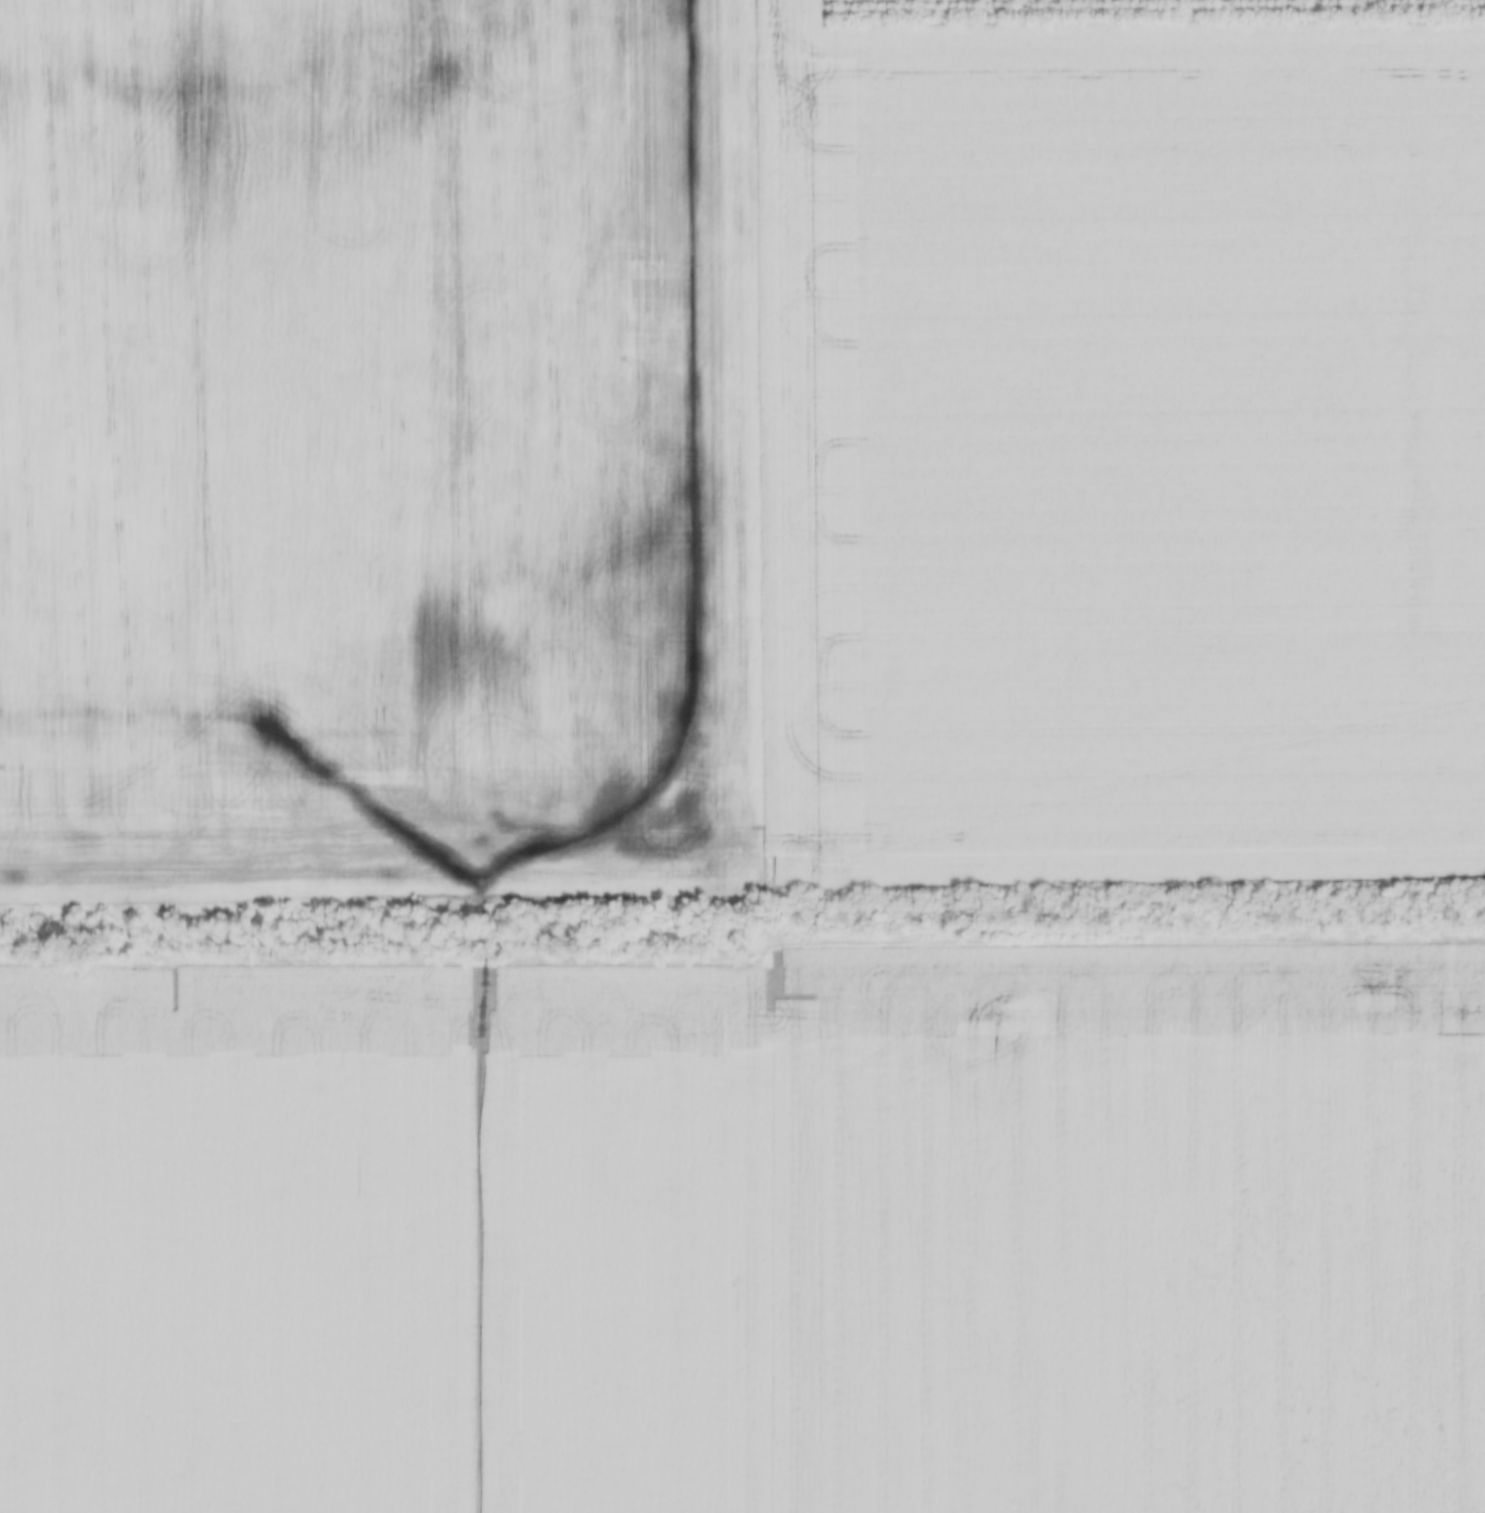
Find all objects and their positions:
road: (170, 914)

